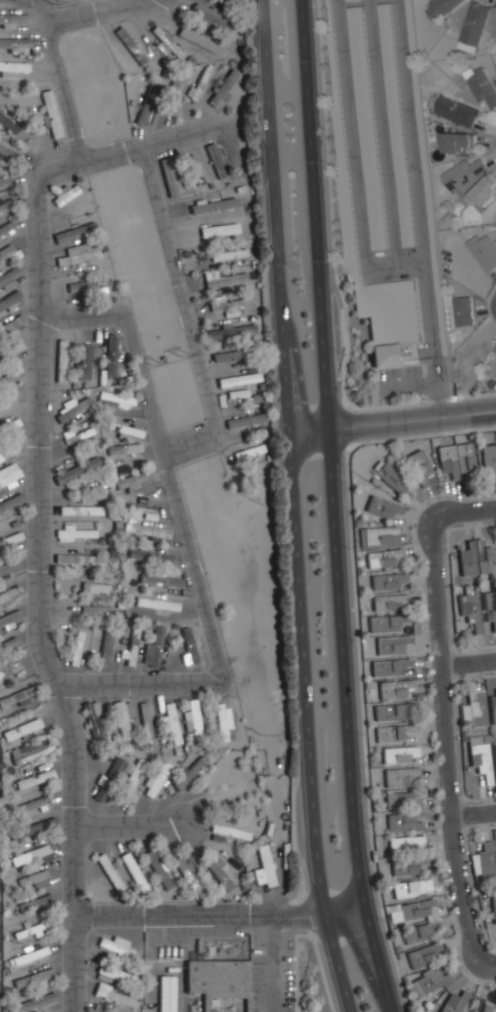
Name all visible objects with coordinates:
power tower: (55, 0)
building: (6, 1)
building: (439, 8)
road: (92, 13)
building: (209, 15)
building: (12, 16)
building: (495, 24)
building: (473, 26)
building: (199, 39)
building: (165, 42)
building: (13, 44)
building: (129, 46)
building: (12, 66)
building: (197, 82)
road: (59, 83)
building: (223, 85)
building: (173, 87)
building: (482, 87)
building: (144, 103)
building: (456, 111)
building: (50, 112)
building: (395, 123)
building: (11, 125)
building: (365, 125)
road: (167, 140)
building: (456, 143)
building: (9, 155)
building: (214, 159)
building: (194, 168)
building: (424, 173)
building: (462, 173)
building: (7, 181)
building: (169, 183)
building: (483, 191)
building: (64, 192)
building: (9, 203)
building: (216, 204)
building: (344, 217)
building: (6, 228)
building: (218, 229)
building: (74, 231)
building: (7, 250)
building: (483, 251)
building: (228, 253)
building: (76, 256)
building: (9, 277)
building: (224, 277)
building: (86, 284)
road: (179, 292)
building: (9, 302)
building: (224, 303)
building: (463, 311)
road: (78, 318)
building: (8, 325)
building: (230, 330)
building: (10, 348)
building: (95, 352)
building: (109, 354)
power tower: (179, 355)
building: (227, 355)
building: (59, 359)
building: (84, 360)
power tower: (152, 363)
building: (237, 378)
building: (4, 381)
road: (283, 394)
building: (115, 397)
building: (240, 397)
building: (7, 407)
building: (71, 407)
road: (391, 420)
building: (243, 422)
building: (10, 428)
building: (123, 429)
building: (76, 435)
road: (189, 444)
building: (247, 450)
building: (124, 452)
building: (6, 454)
building: (455, 460)
building: (489, 462)
building: (418, 464)
building: (75, 469)
building: (8, 479)
building: (135, 480)
building: (393, 481)
road: (38, 483)
building: (8, 504)
road: (467, 506)
building: (136, 507)
road: (334, 507)
building: (382, 507)
building: (79, 509)
road: (440, 524)
building: (74, 531)
building: (145, 531)
building: (378, 537)
building: (5, 541)
building: (151, 556)
building: (77, 558)
building: (382, 558)
building: (474, 558)
building: (7, 567)
road: (195, 571)
building: (158, 579)
building: (386, 581)
building: (96, 587)
building: (389, 602)
building: (155, 603)
building: (95, 608)
building: (468, 609)
building: (489, 609)
building: (9, 617)
building: (383, 623)
building: (131, 645)
building: (390, 645)
building: (75, 646)
building: (152, 646)
building: (187, 647)
building: (104, 648)
road: (471, 663)
building: (388, 667)
building: (9, 669)
building: (394, 689)
building: (491, 705)
building: (474, 707)
building: (389, 712)
building: (122, 716)
building: (92, 717)
building: (192, 717)
building: (144, 718)
building: (223, 722)
building: (171, 724)
building: (21, 731)
building: (394, 733)
power tower: (261, 734)
building: (30, 751)
road: (452, 752)
building: (398, 754)
building: (478, 755)
building: (494, 757)
building: (188, 770)
building: (131, 775)
building: (401, 777)
building: (34, 778)
building: (156, 780)
building: (225, 789)
building: (401, 800)
road: (476, 810)
road: (312, 822)
building: (402, 822)
road: (128, 826)
building: (32, 829)
building: (230, 829)
building: (405, 843)
building: (29, 854)
building: (372, 856)
building: (484, 857)
building: (41, 859)
building: (406, 865)
building: (262, 866)
building: (297, 867)
building: (157, 868)
road: (74, 870)
building: (132, 870)
building: (108, 871)
building: (185, 872)
building: (219, 873)
building: (34, 879)
building: (411, 887)
building: (35, 904)
building: (409, 910)
road: (223, 911)
building: (493, 911)
road: (305, 916)
building: (417, 932)
road: (305, 934)
road: (328, 935)
building: (114, 946)
building: (423, 954)
building: (30, 956)
road: (358, 958)
road: (272, 961)
road: (489, 961)
road: (76, 963)
building: (116, 975)
building: (34, 979)
building: (218, 980)
building: (426, 983)
building: (165, 994)
building: (114, 995)
building: (452, 1002)
building: (31, 1003)
building: (481, 1007)
building: (226, 1008)
building: (93, 1009)

